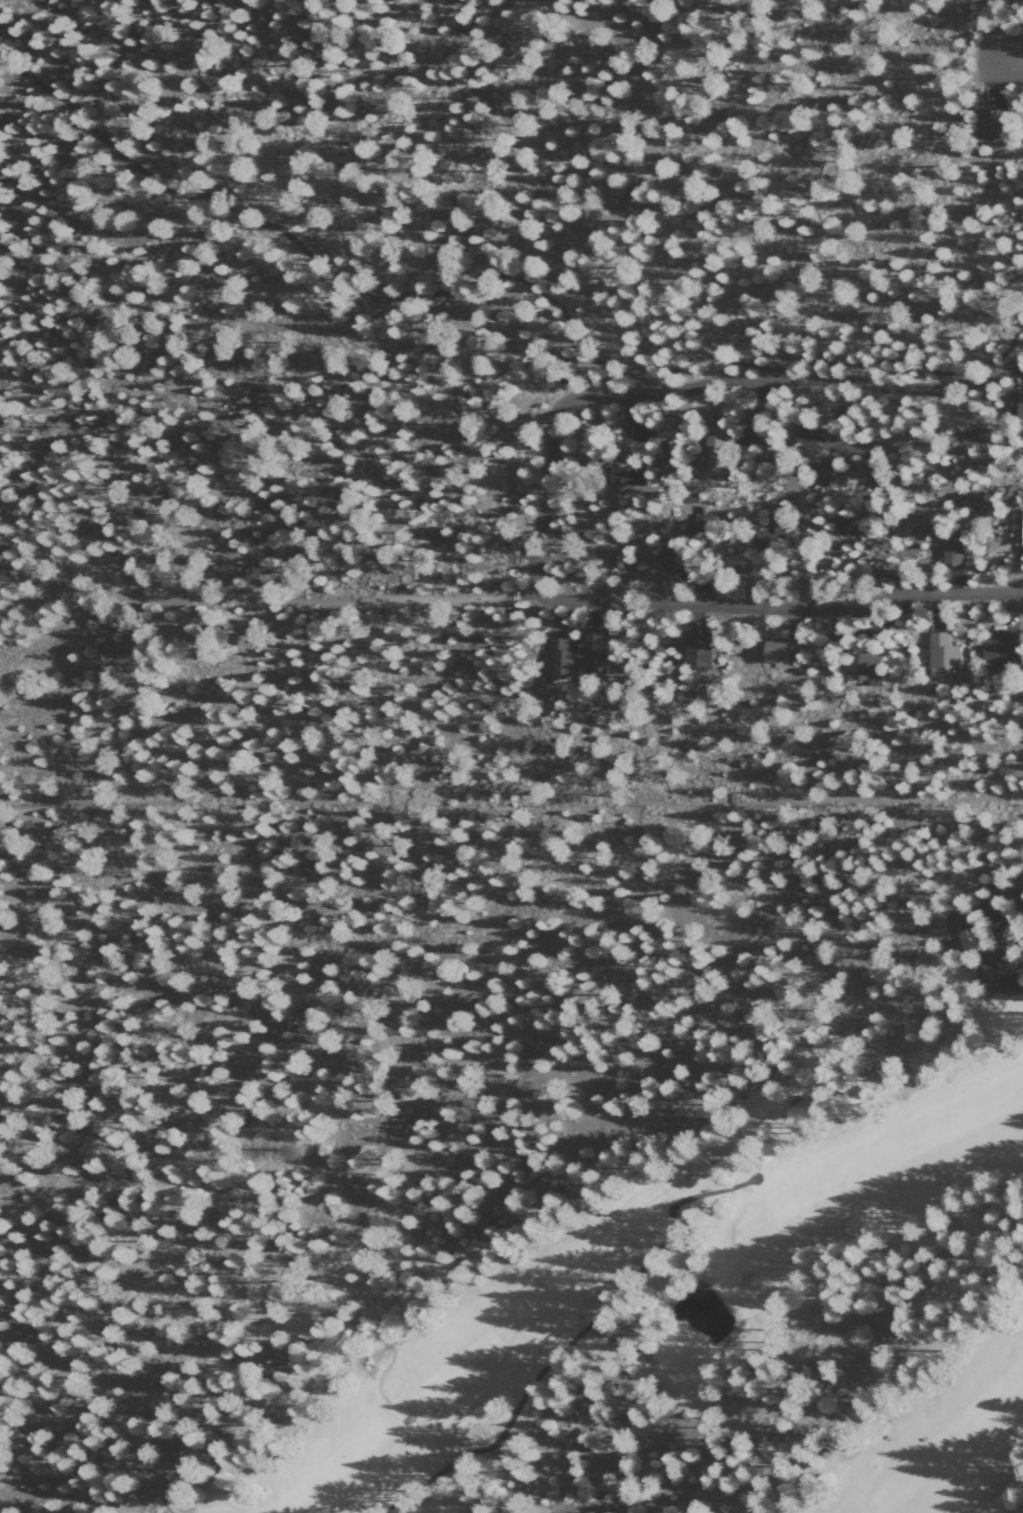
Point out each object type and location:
road: (1014, 57)
building: (987, 123)
road: (7, 209)
road: (304, 251)
road: (827, 364)
road: (796, 379)
building: (1016, 403)
road: (111, 410)
building: (639, 429)
building: (805, 436)
building: (962, 438)
road: (275, 442)
building: (713, 448)
building: (830, 473)
building: (622, 474)
road: (546, 501)
building: (840, 522)
building: (695, 523)
building: (1015, 524)
building: (767, 532)
building: (952, 554)
building: (667, 558)
building: (618, 559)
road: (272, 598)
road: (783, 608)
road: (250, 625)
building: (594, 648)
building: (695, 648)
building: (1000, 648)
building: (776, 649)
building: (940, 650)
building: (559, 656)
road: (149, 665)
building: (867, 666)
road: (511, 786)
road: (992, 885)
building: (964, 936)
building: (999, 971)
road: (48, 1170)
road: (420, 1204)
road: (603, 1311)
park: (692, 1323)
road: (436, 1472)
road: (403, 1497)

